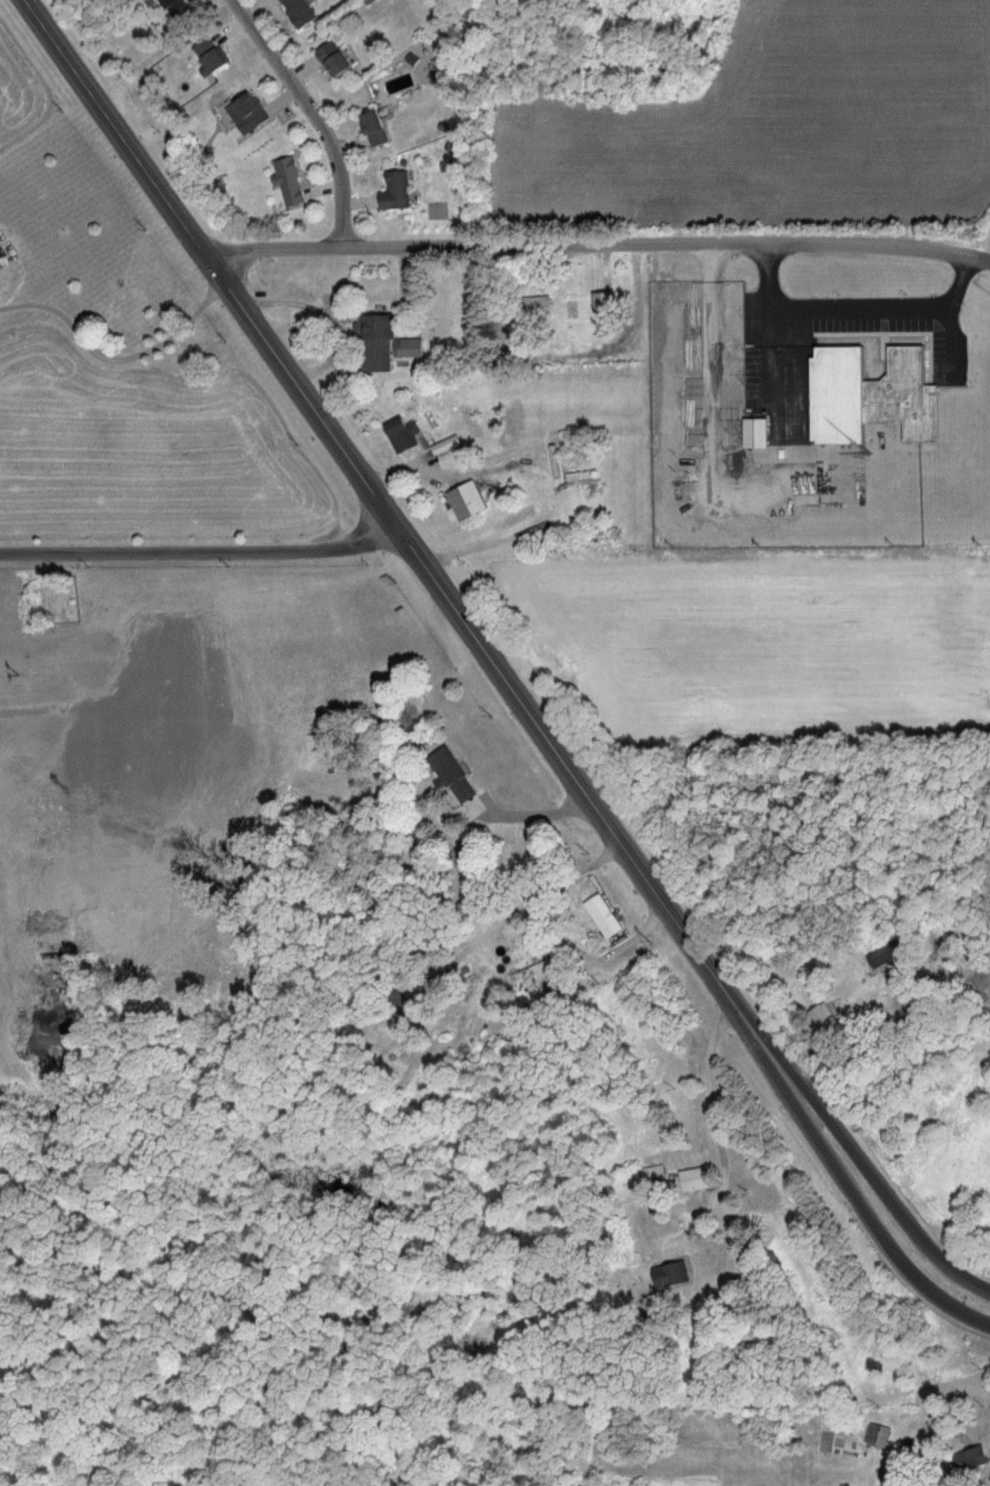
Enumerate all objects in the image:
building: (180, 8)
building: (301, 12)
building: (214, 56)
building: (337, 61)
building: (250, 113)
road: (313, 114)
building: (379, 129)
building: (291, 182)
building: (398, 192)
road: (597, 245)
building: (607, 305)
road: (850, 315)
road: (326, 319)
building: (384, 342)
road: (116, 364)
building: (877, 396)
building: (759, 432)
building: (404, 435)
building: (804, 499)
building: (471, 500)
building: (770, 500)
road: (401, 532)
road: (202, 552)
park: (58, 598)
building: (454, 775)
road: (531, 814)
road: (518, 911)
building: (605, 916)
building: (551, 975)
road: (709, 1090)
building: (653, 1172)
building: (697, 1182)
road: (879, 1186)
road: (865, 1214)
building: (673, 1275)
building: (973, 1459)

